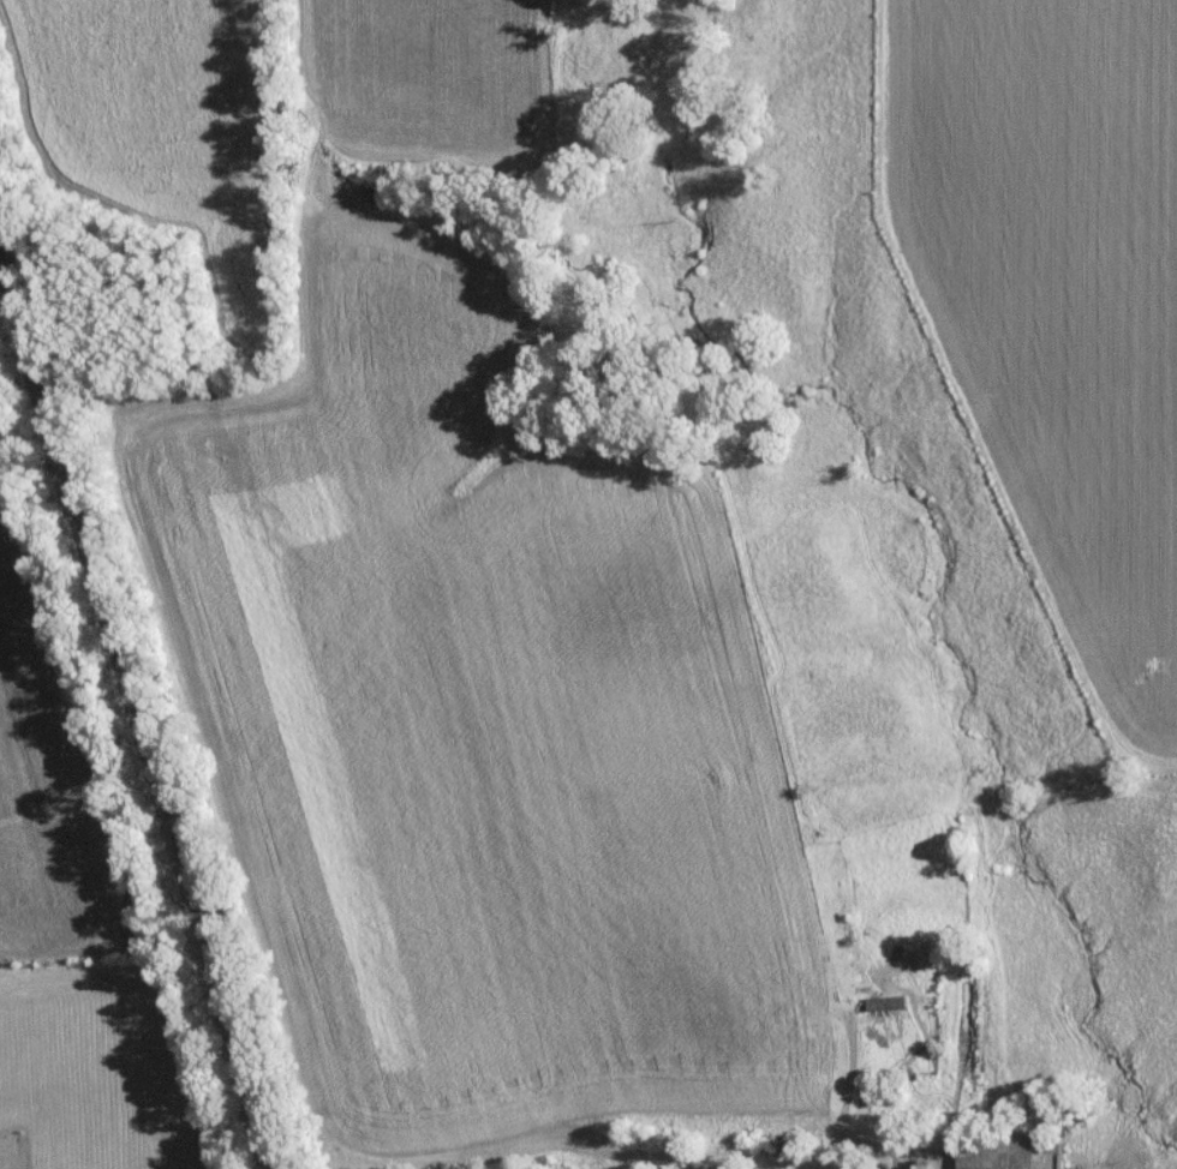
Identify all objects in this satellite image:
railway: (136, 706)
building: (884, 1002)

